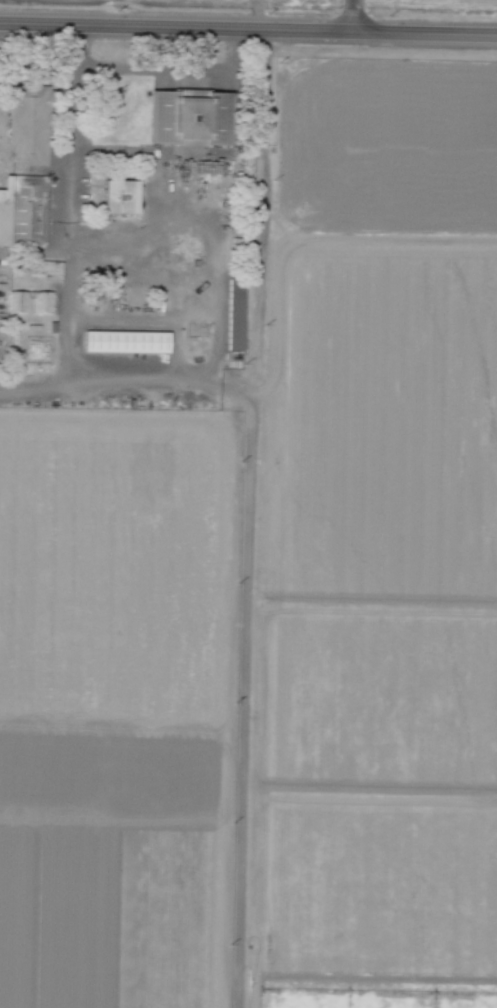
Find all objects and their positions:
road: (255, 13)
road: (349, 14)
road: (248, 27)
road: (171, 69)
building: (190, 116)
building: (30, 126)
building: (120, 195)
building: (27, 212)
road: (261, 212)
road: (34, 251)
road: (119, 251)
building: (48, 267)
building: (32, 302)
building: (234, 315)
road: (68, 319)
building: (129, 343)
road: (99, 383)
road: (221, 388)
road: (242, 701)

